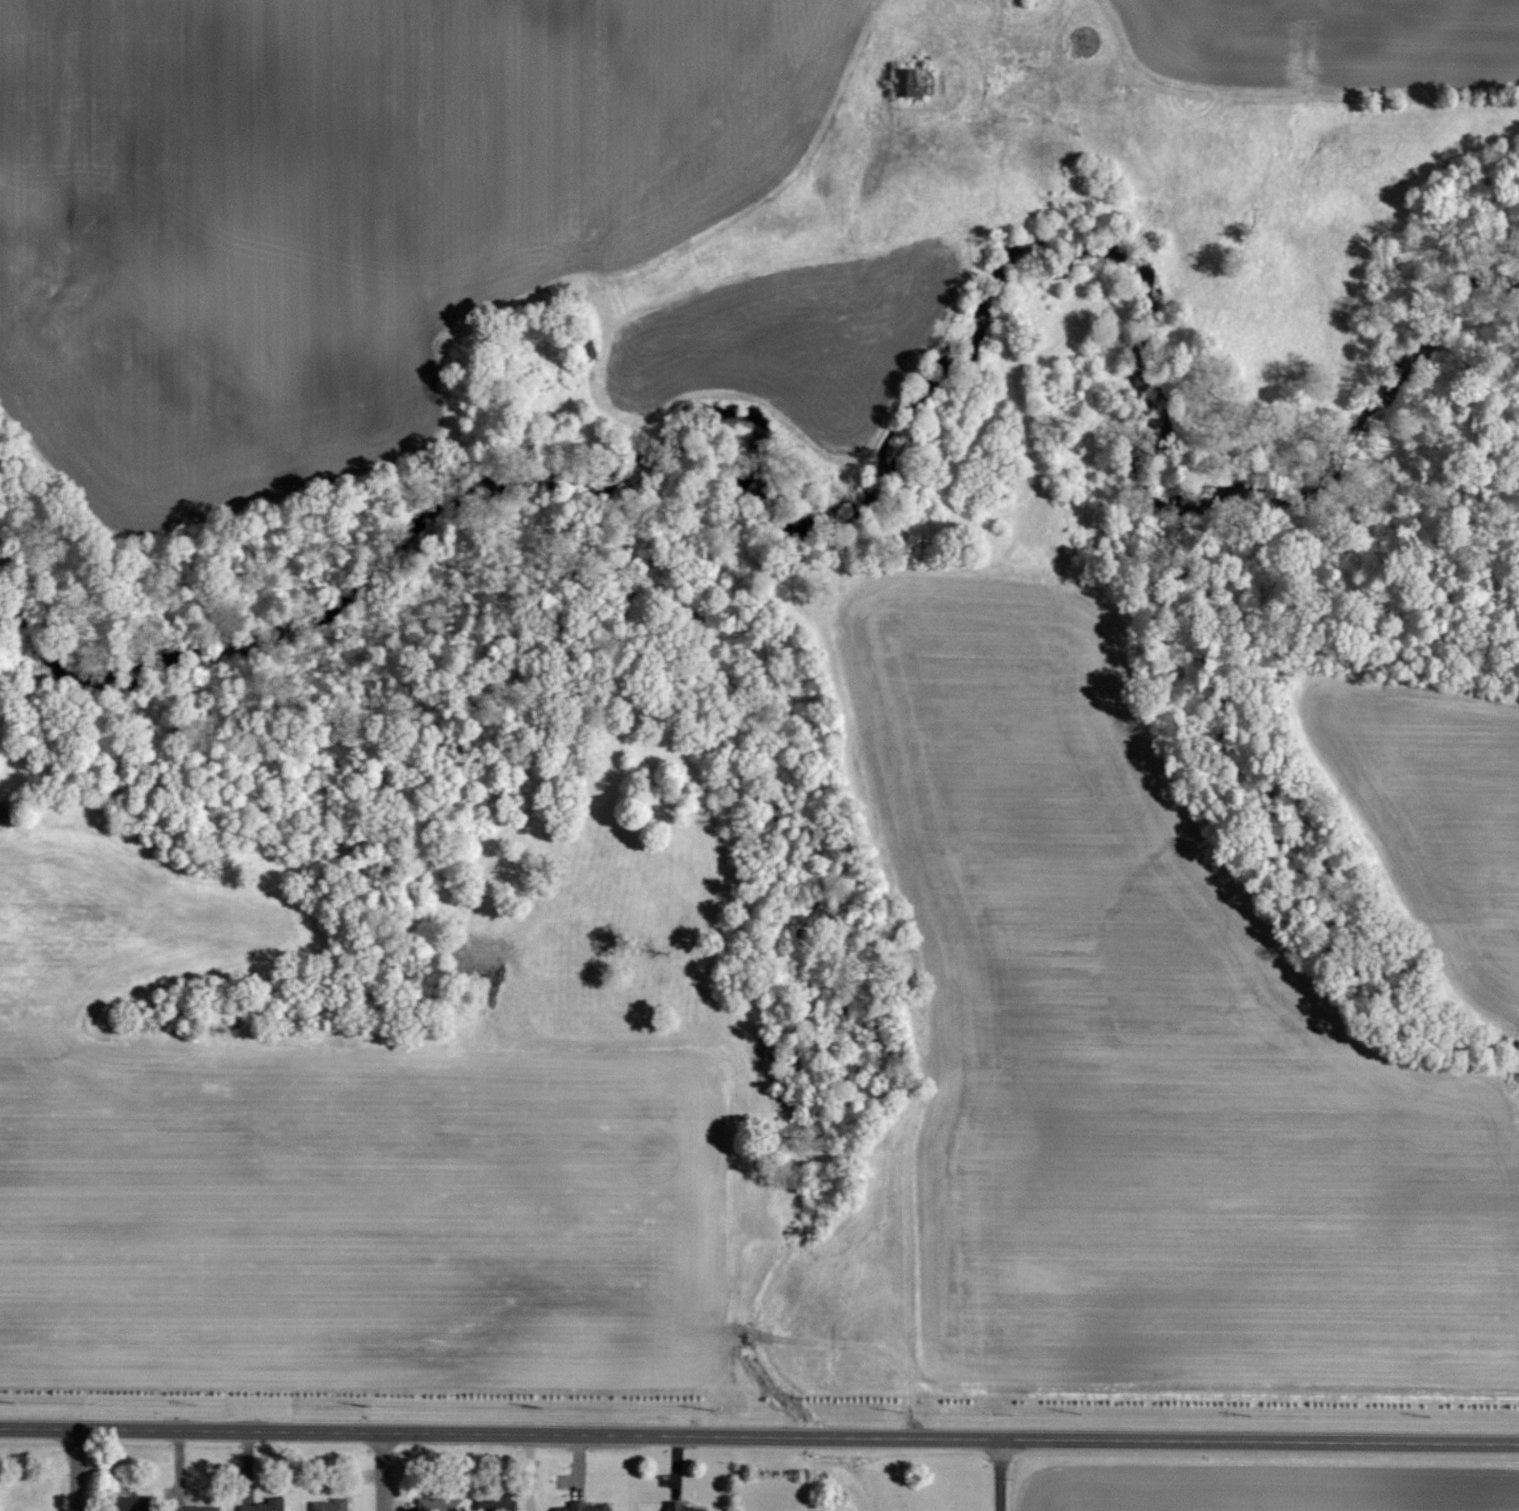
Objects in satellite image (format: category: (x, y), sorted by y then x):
road: (759, 1437)
road: (84, 1471)
road: (383, 1472)
road: (997, 1475)
building: (140, 1503)
building: (500, 1504)
building: (268, 1505)
building: (332, 1505)
building: (588, 1507)
building: (690, 1507)
building: (205, 1508)

